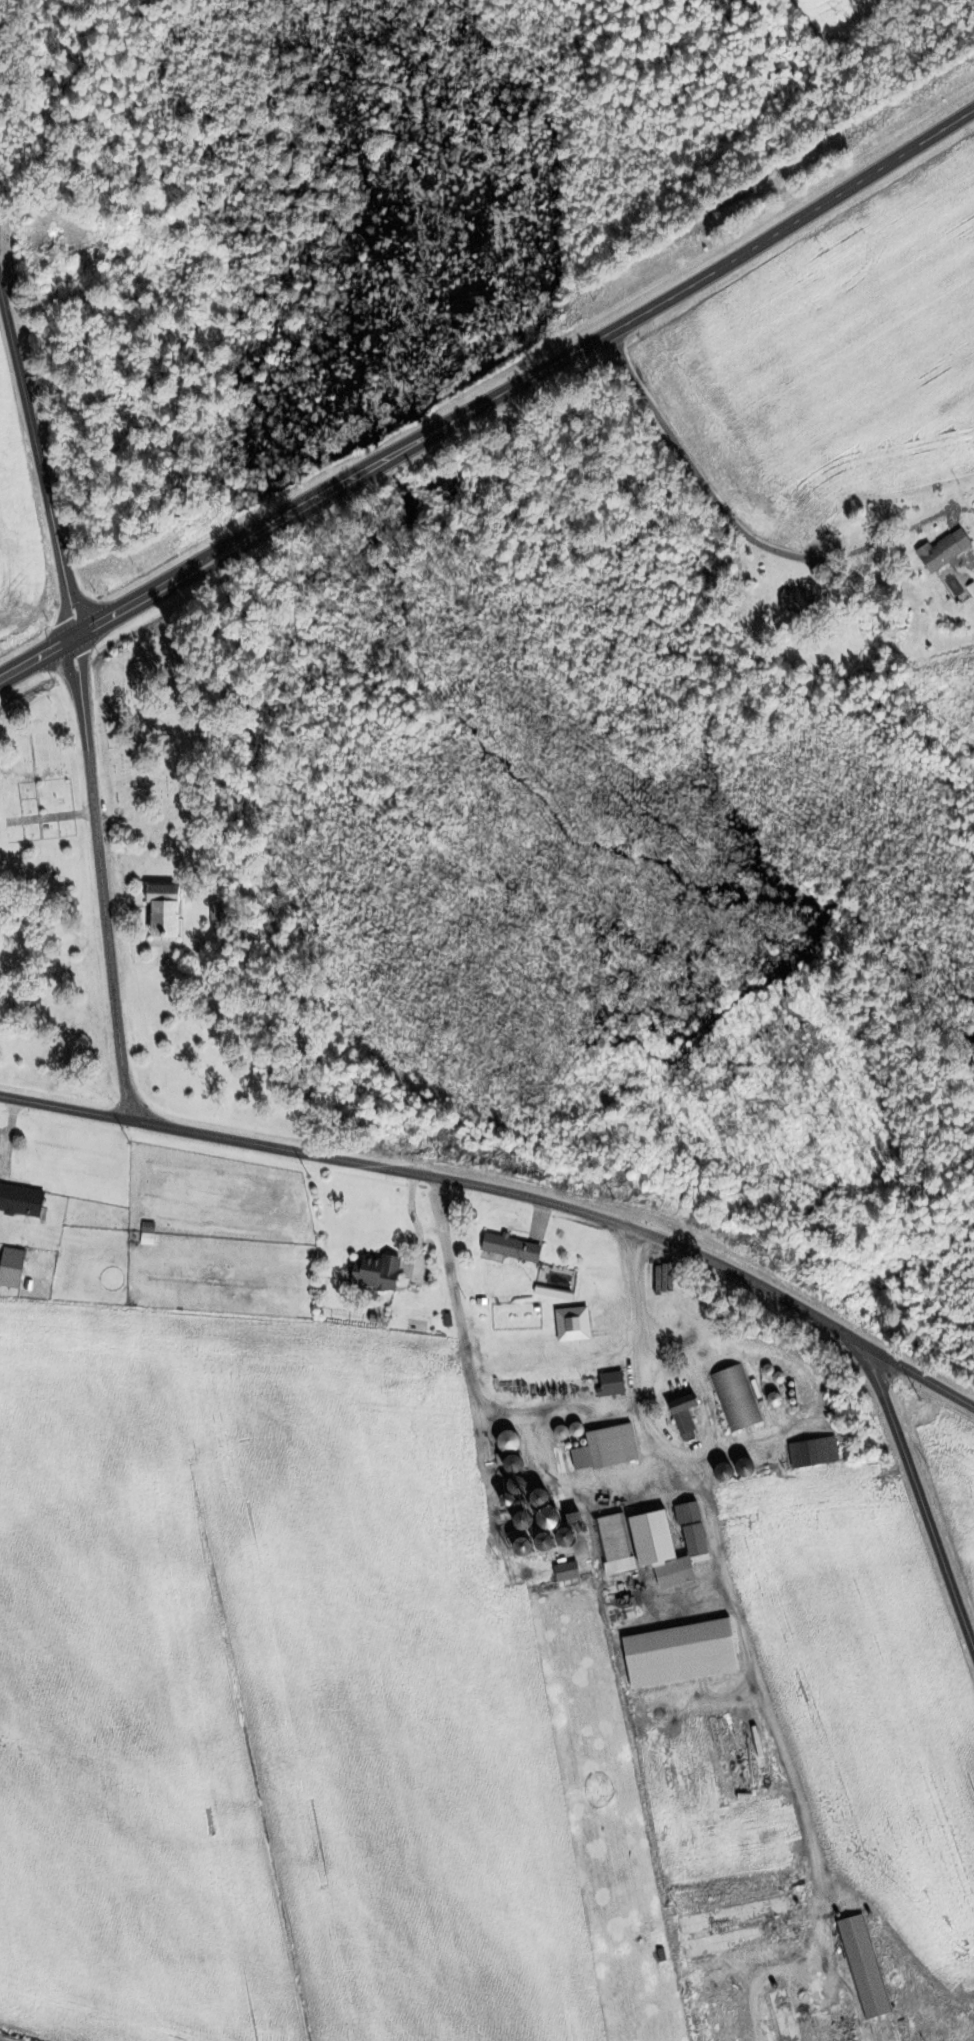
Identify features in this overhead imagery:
road: (710, 271)
road: (38, 465)
road: (254, 528)
road: (739, 530)
building: (946, 551)
building: (798, 602)
road: (35, 654)
road: (99, 877)
building: (166, 912)
building: (218, 927)
road: (507, 1193)
building: (22, 1202)
building: (513, 1249)
building: (12, 1269)
building: (380, 1275)
building: (574, 1326)
building: (614, 1386)
building: (736, 1400)
building: (776, 1401)
building: (687, 1416)
building: (578, 1433)
building: (614, 1448)
building: (815, 1455)
building: (543, 1500)
road: (919, 1501)
building: (528, 1523)
building: (697, 1542)
building: (677, 1545)
building: (616, 1546)
building: (568, 1573)
building: (748, 1739)
building: (740, 1927)
building: (865, 1967)
building: (724, 2012)
building: (785, 2015)
building: (846, 2031)

